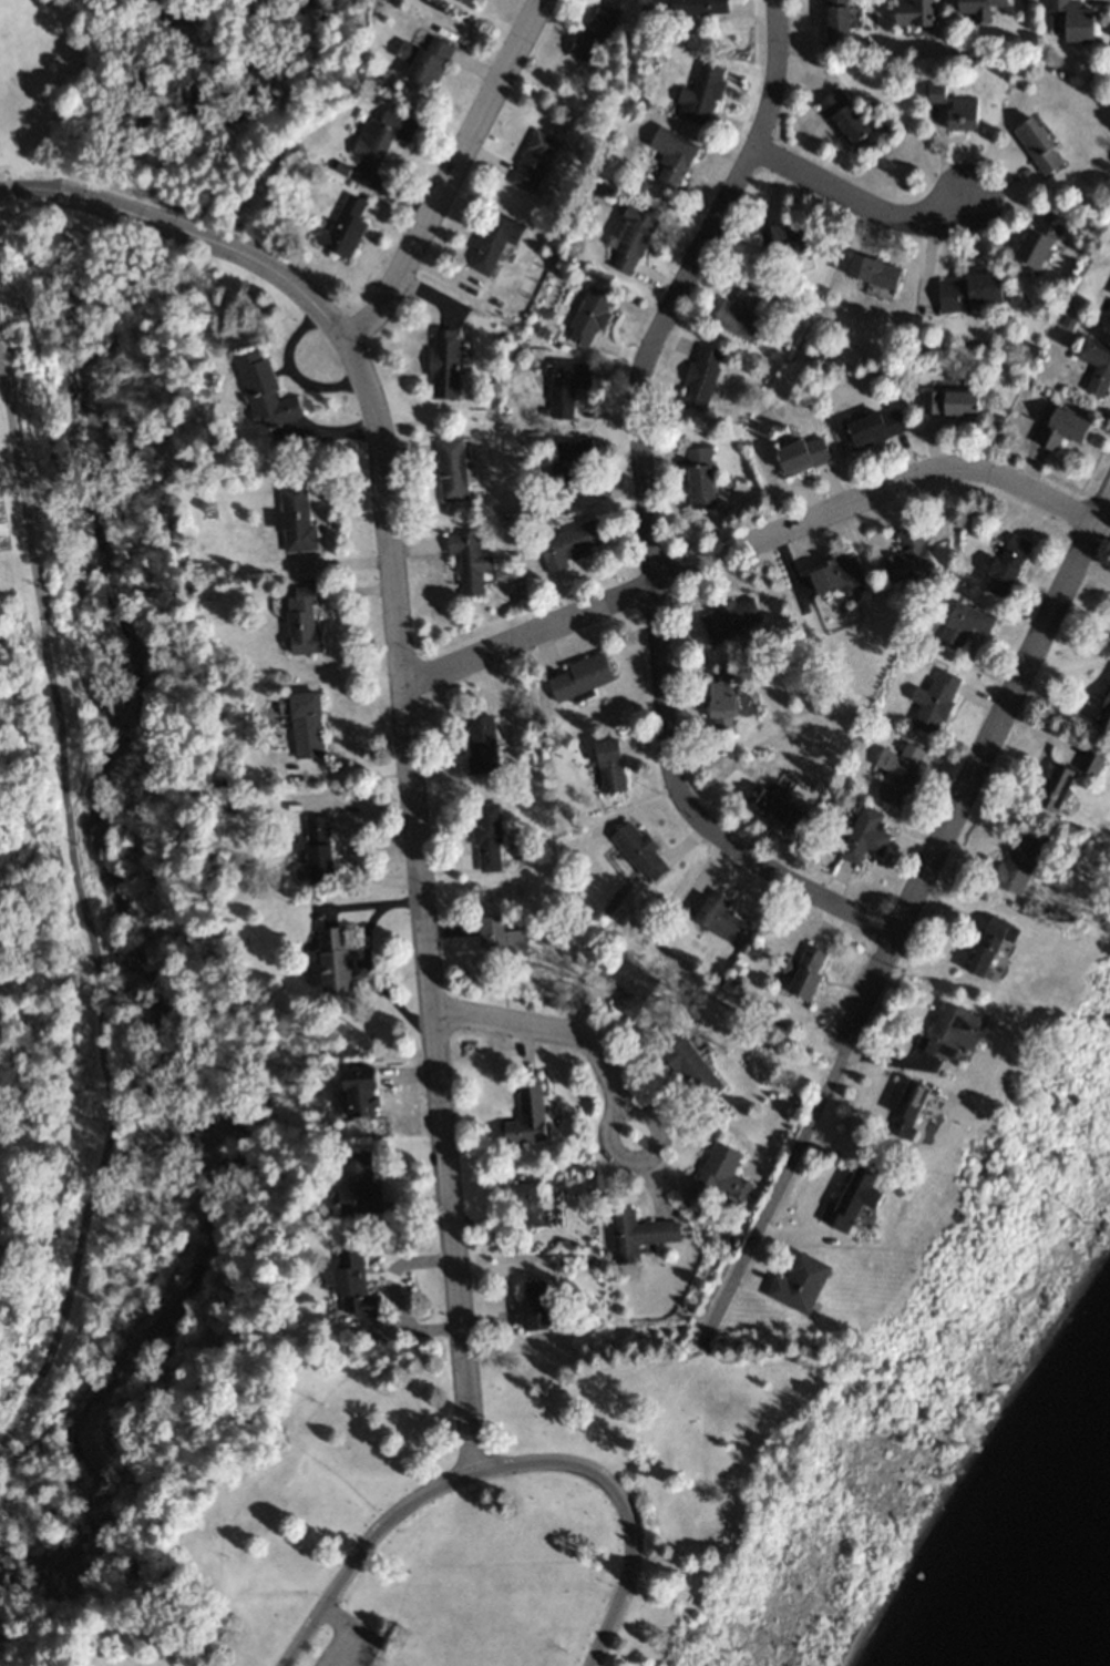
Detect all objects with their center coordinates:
building: (469, 1)
building: (698, 8)
building: (979, 9)
building: (913, 13)
building: (1075, 20)
building: (836, 22)
building: (594, 33)
building: (429, 62)
building: (936, 93)
building: (700, 95)
building: (962, 115)
building: (843, 116)
building: (383, 134)
building: (1037, 146)
building: (671, 156)
building: (533, 162)
road: (451, 175)
road: (854, 194)
building: (343, 226)
building: (630, 238)
building: (493, 241)
building: (785, 242)
building: (1039, 242)
building: (873, 272)
building: (970, 293)
building: (739, 314)
building: (589, 315)
building: (443, 362)
building: (1096, 364)
road: (289, 371)
building: (700, 377)
building: (566, 386)
building: (264, 390)
building: (949, 403)
building: (873, 428)
building: (1065, 428)
building: (802, 456)
building: (451, 470)
building: (574, 472)
building: (699, 479)
road: (646, 511)
building: (295, 521)
road: (749, 543)
building: (569, 545)
building: (907, 556)
building: (469, 562)
building: (1008, 565)
building: (835, 576)
park: (156, 583)
building: (730, 619)
building: (302, 624)
building: (965, 625)
building: (578, 678)
building: (934, 702)
road: (403, 704)
building: (721, 709)
building: (1104, 718)
building: (306, 725)
building: (479, 745)
building: (1091, 765)
building: (609, 766)
road: (351, 773)
building: (897, 773)
building: (1062, 793)
building: (777, 806)
building: (864, 837)
building: (486, 838)
building: (318, 849)
building: (637, 854)
building: (1019, 863)
road: (903, 910)
road: (82, 914)
park: (30, 918)
building: (719, 920)
building: (499, 938)
building: (991, 947)
building: (333, 959)
building: (808, 973)
building: (634, 998)
road: (546, 1025)
building: (954, 1031)
building: (691, 1071)
building: (362, 1090)
building: (908, 1105)
building: (527, 1115)
road: (606, 1141)
building: (720, 1174)
building: (360, 1183)
building: (524, 1193)
building: (856, 1194)
building: (637, 1234)
building: (800, 1280)
building: (352, 1286)
building: (535, 1314)
park: (507, 1504)
road: (619, 1507)
road: (361, 1550)
road: (347, 1633)
parking lot: (346, 1646)

